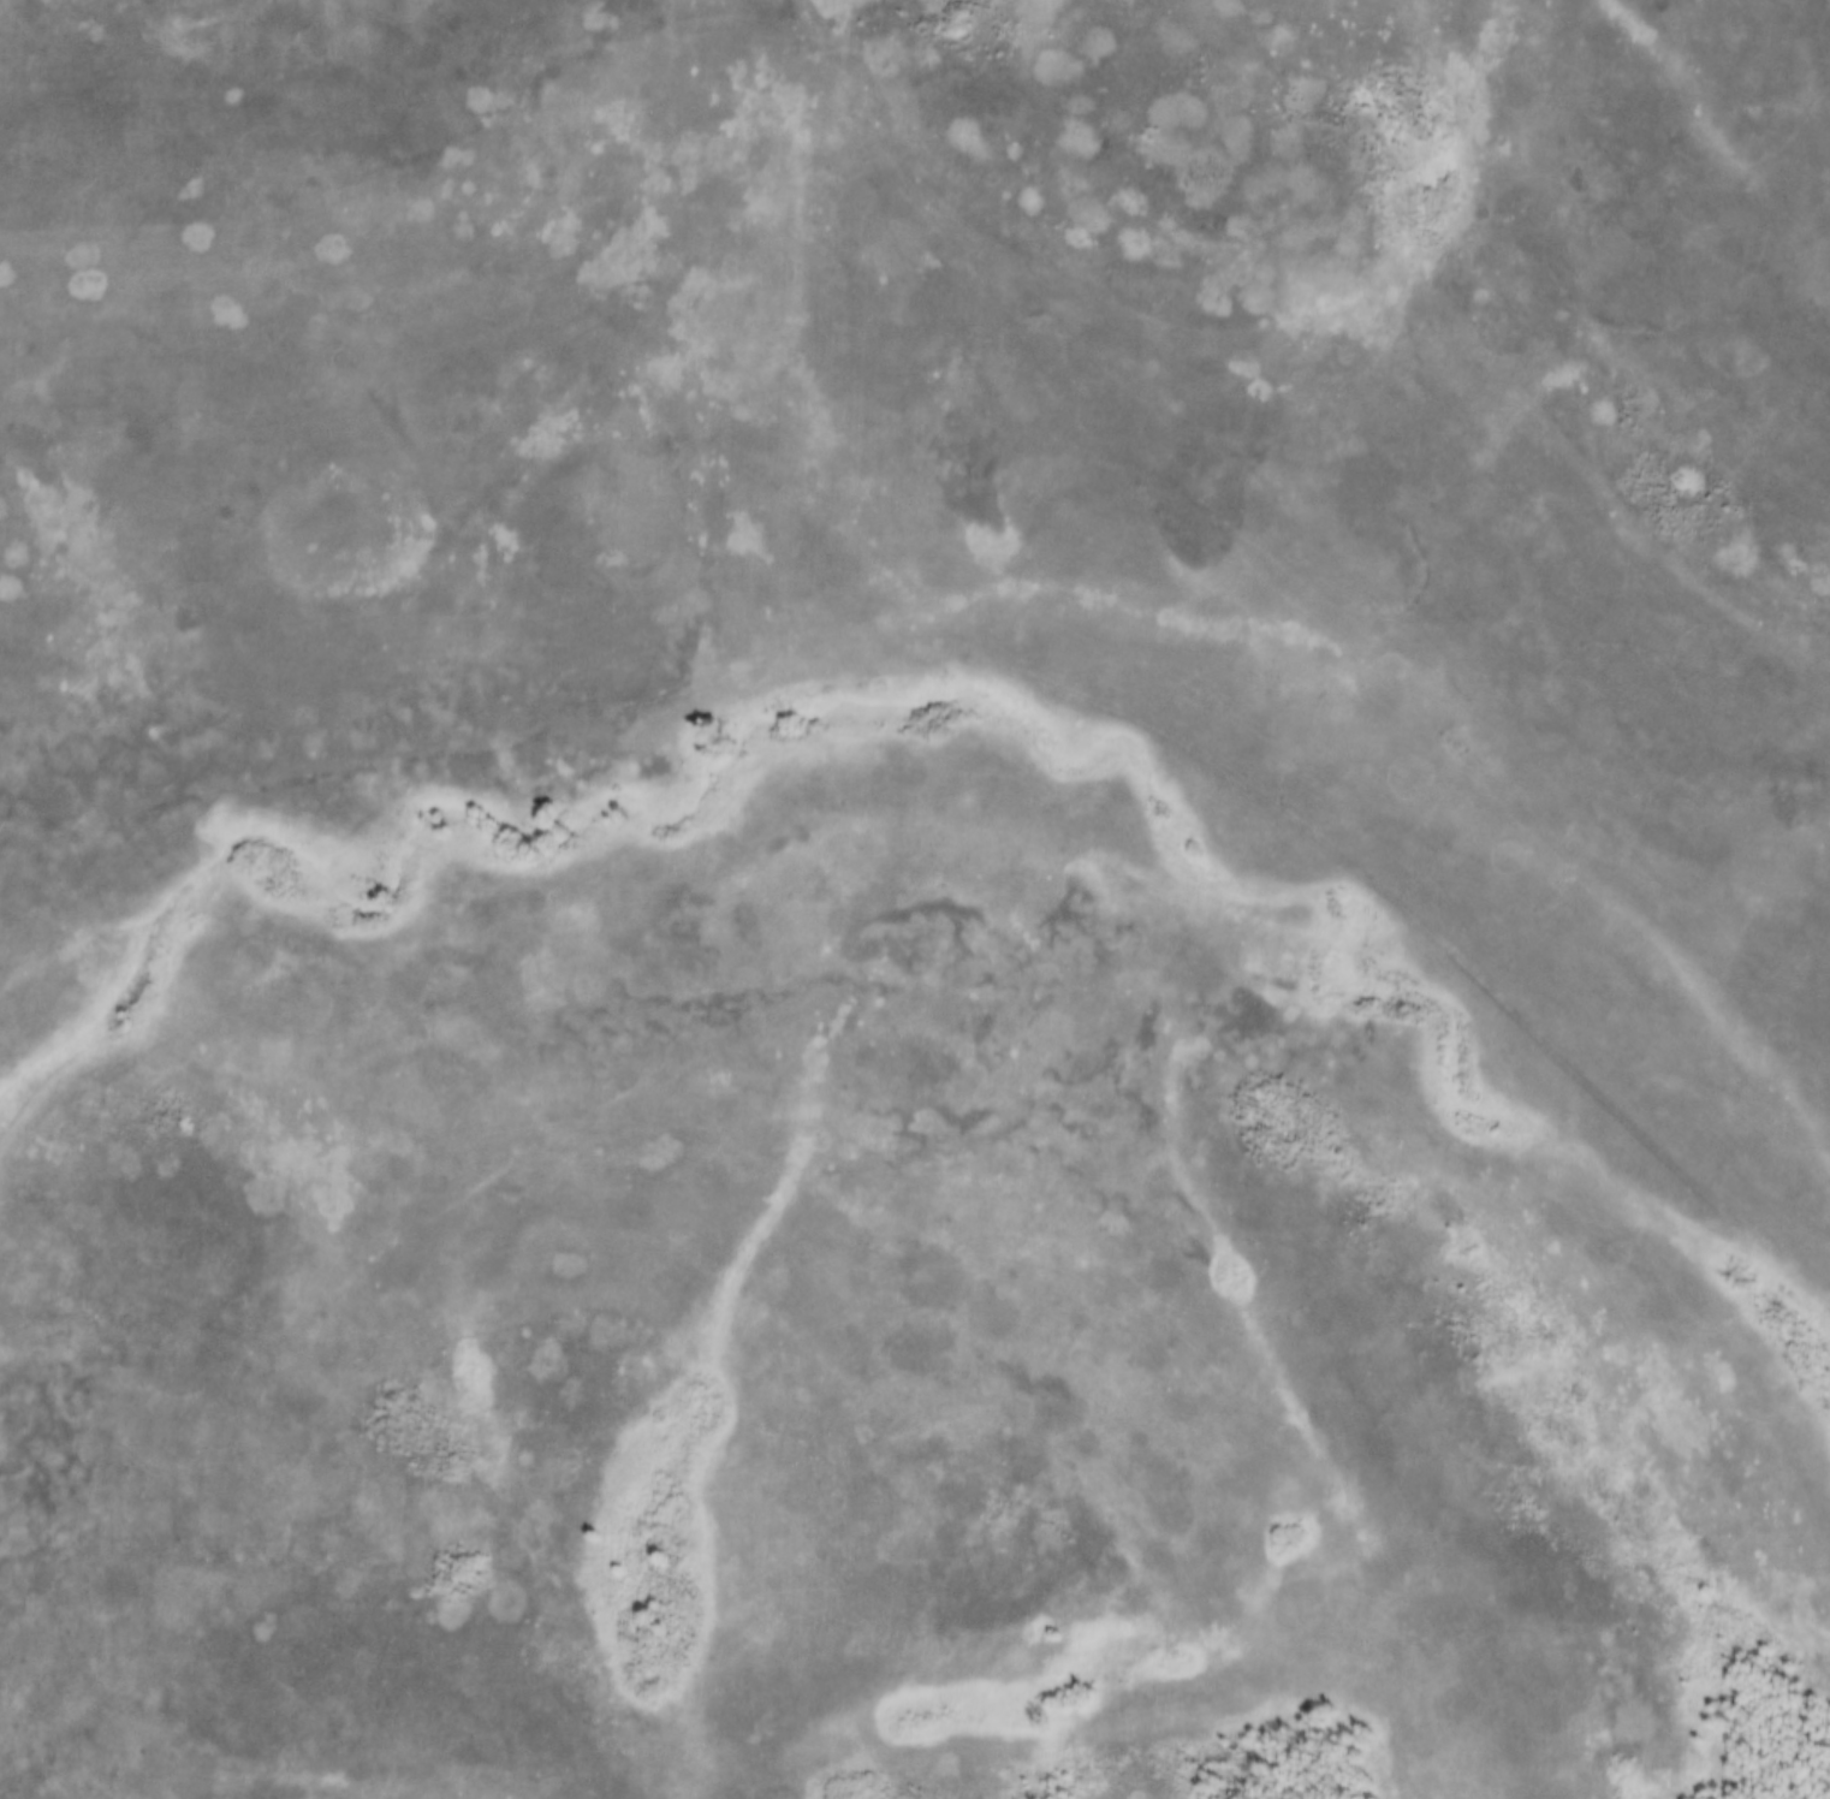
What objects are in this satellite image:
road: (975, 663)

